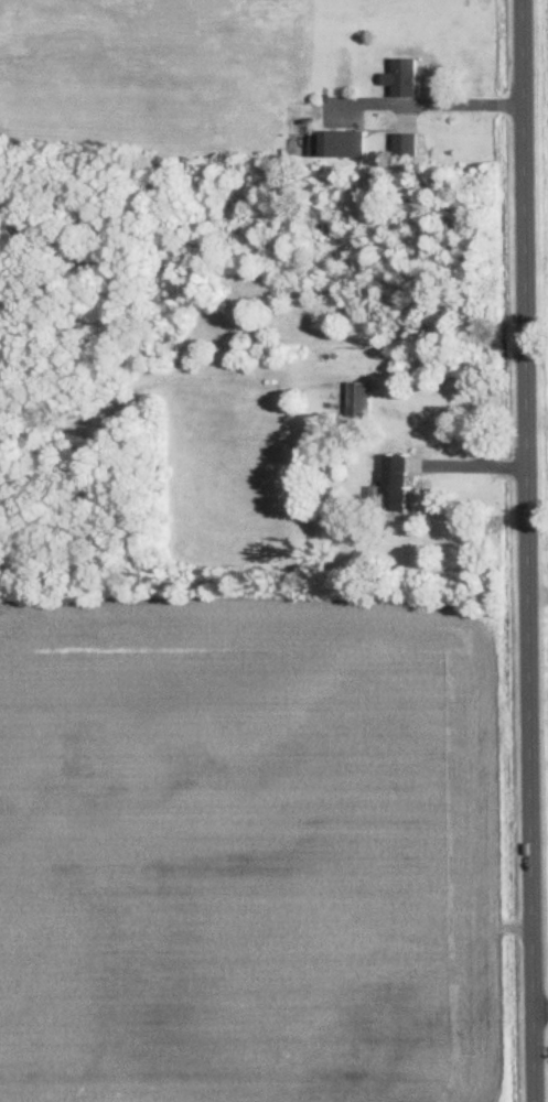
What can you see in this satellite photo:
building: (409, 77)
road: (440, 100)
building: (341, 144)
building: (410, 145)
building: (363, 399)
road: (474, 468)
building: (404, 484)
road: (533, 550)
road: (542, 1011)

